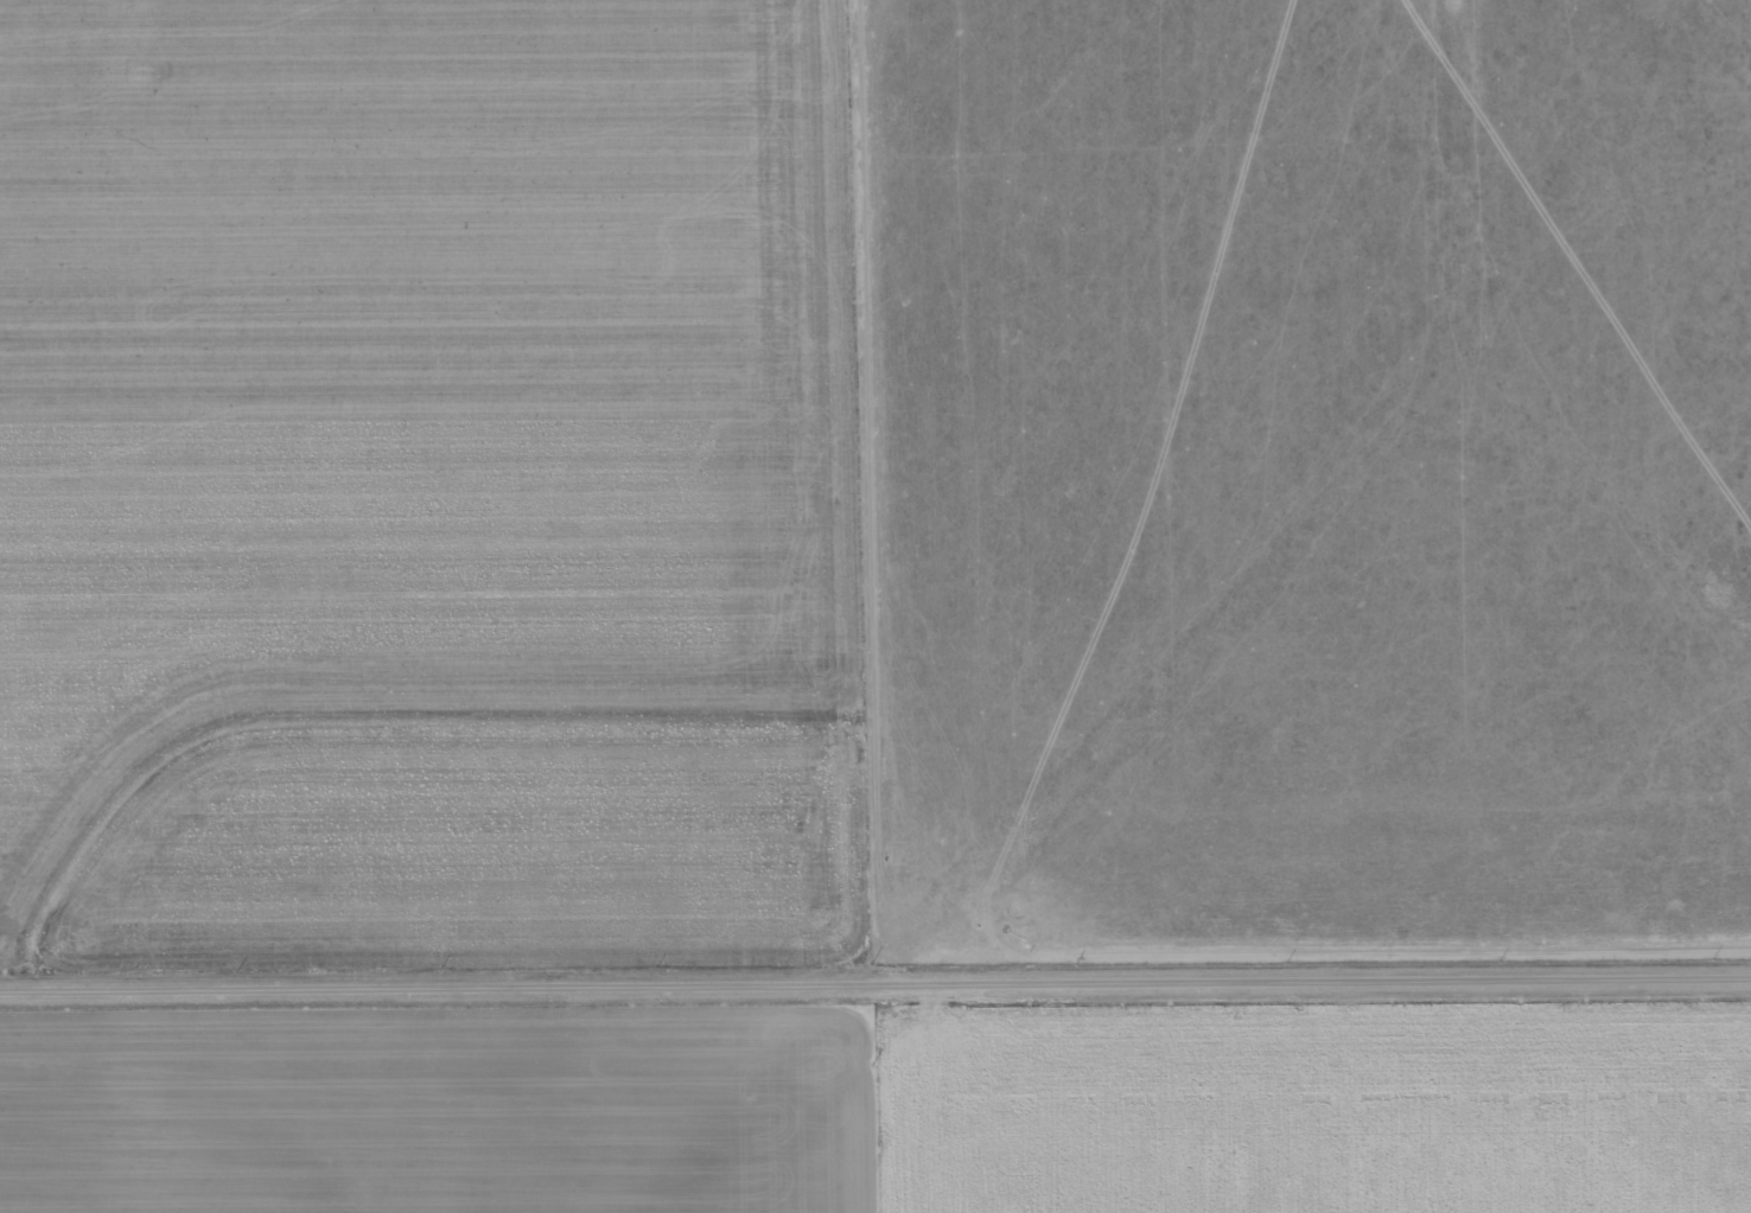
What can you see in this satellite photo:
road: (875, 982)

